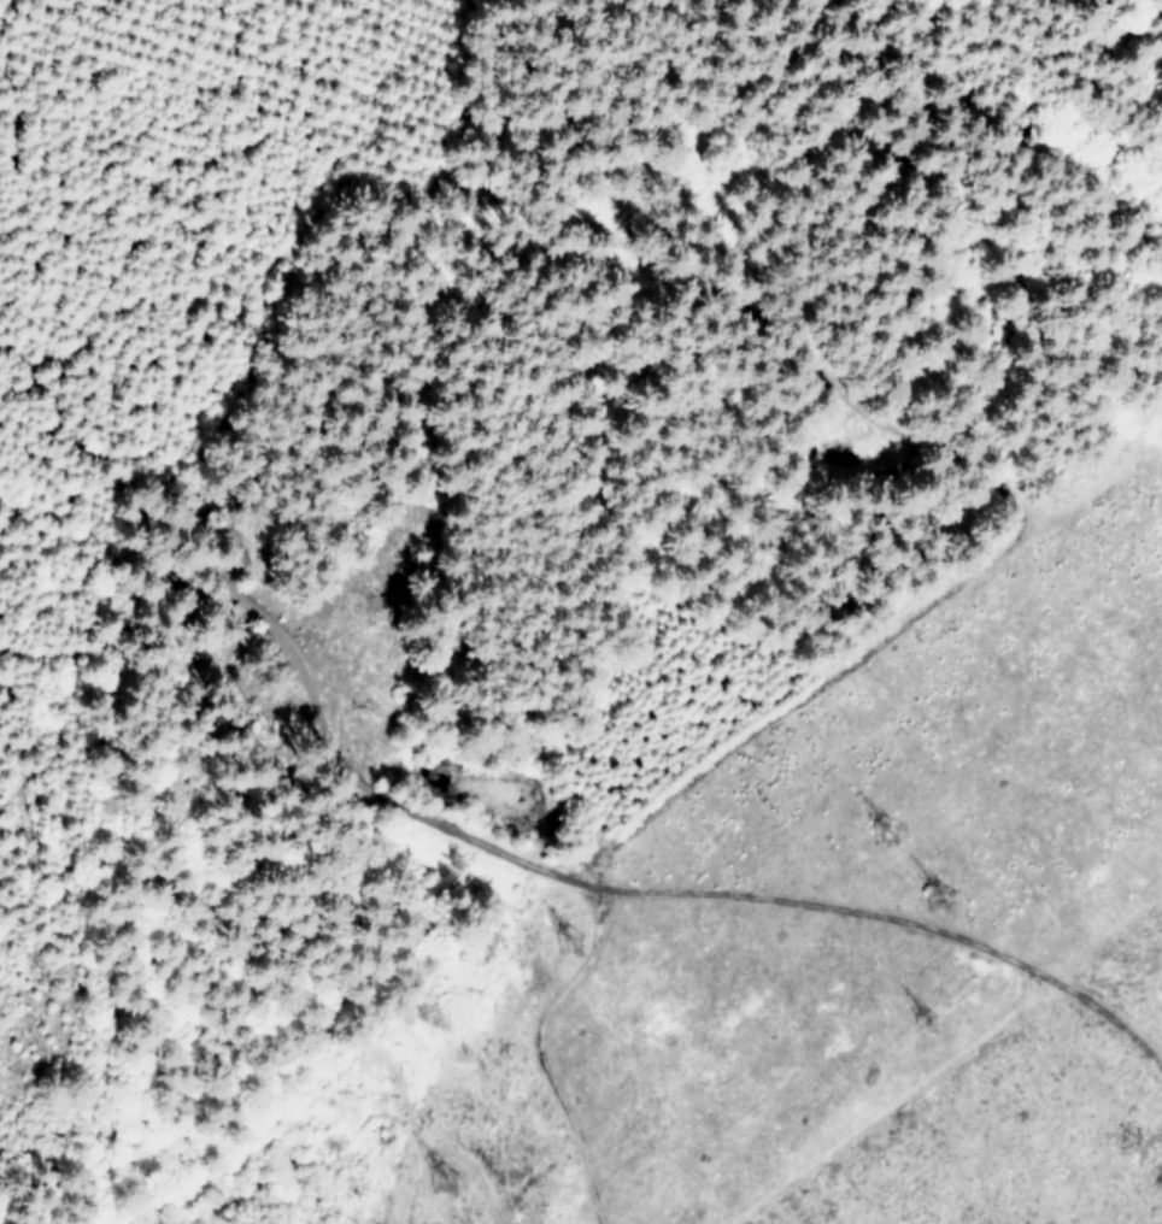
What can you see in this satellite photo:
power tower: (887, 828)
power tower: (937, 888)
power tower: (568, 935)
power tower: (931, 1022)
power tower: (447, 1183)

